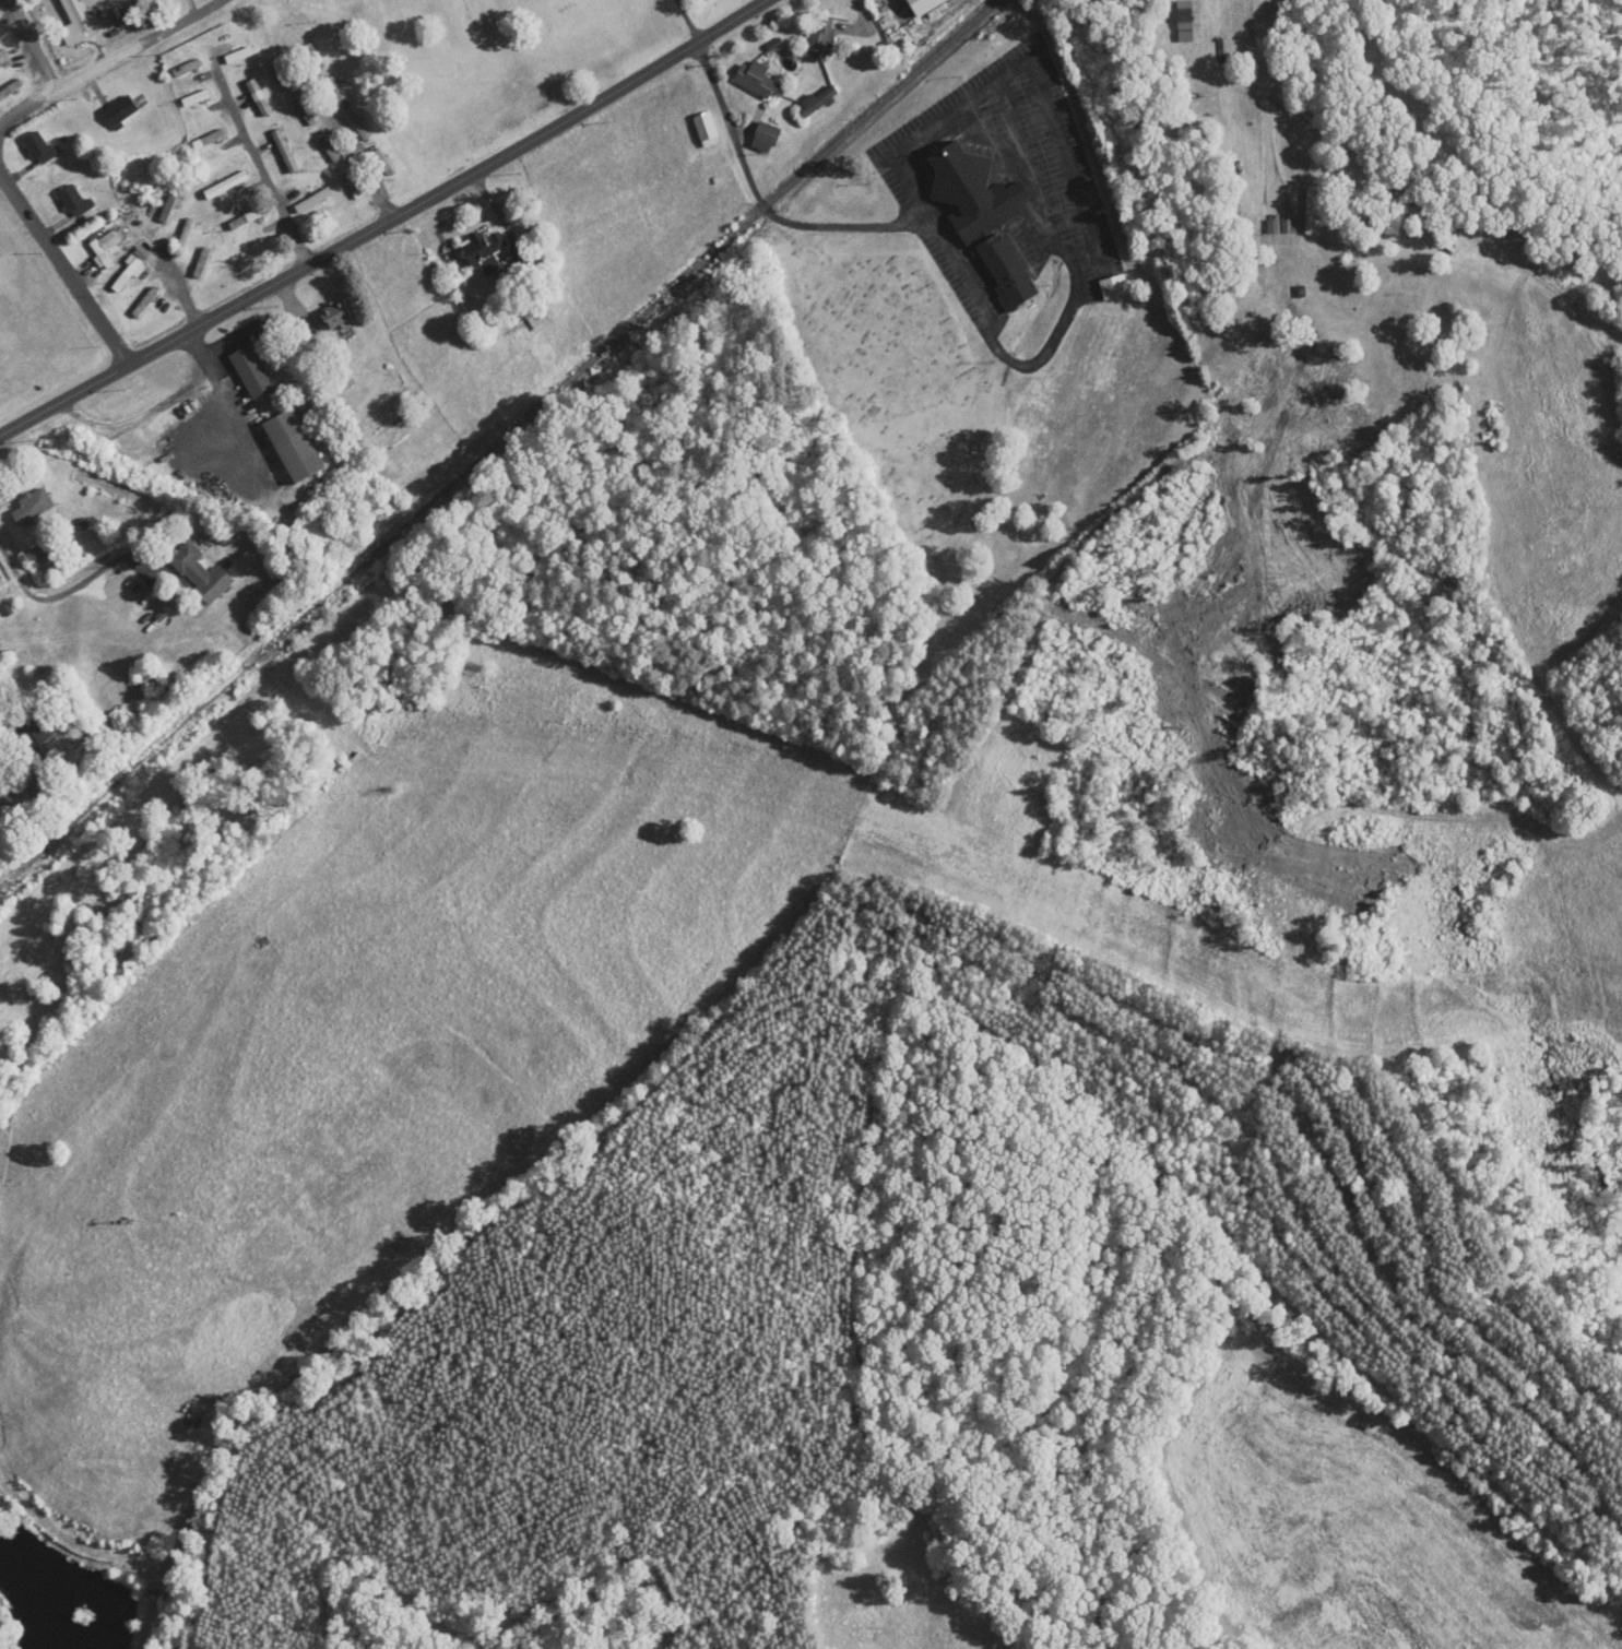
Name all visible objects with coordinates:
road: (218, 1)
building: (923, 4)
road: (689, 22)
road: (83, 34)
building: (822, 40)
building: (1193, 45)
road: (32, 46)
building: (240, 55)
building: (3, 56)
building: (315, 57)
road: (111, 62)
building: (188, 68)
road: (779, 69)
building: (285, 78)
building: (758, 80)
road: (750, 87)
building: (11, 91)
building: (336, 91)
building: (260, 97)
building: (197, 98)
building: (1203, 99)
building: (818, 102)
road: (1263, 102)
building: (121, 111)
building: (307, 111)
building: (362, 127)
building: (708, 130)
building: (767, 138)
building: (210, 139)
building: (42, 149)
building: (331, 150)
building: (285, 151)
building: (384, 163)
road: (262, 166)
building: (227, 186)
building: (354, 186)
building: (973, 191)
building: (315, 200)
road: (773, 200)
building: (75, 201)
building: (169, 209)
building: (1312, 211)
road: (1055, 217)
building: (248, 218)
road: (389, 221)
building: (187, 235)
building: (106, 248)
building: (482, 248)
building: (203, 263)
road: (63, 265)
building: (1007, 272)
building: (128, 275)
road: (176, 284)
building: (1115, 287)
building: (146, 302)
building: (336, 316)
building: (252, 371)
park: (895, 371)
building: (295, 446)
building: (33, 507)
building: (202, 573)
road: (69, 590)
building: (38, 737)

